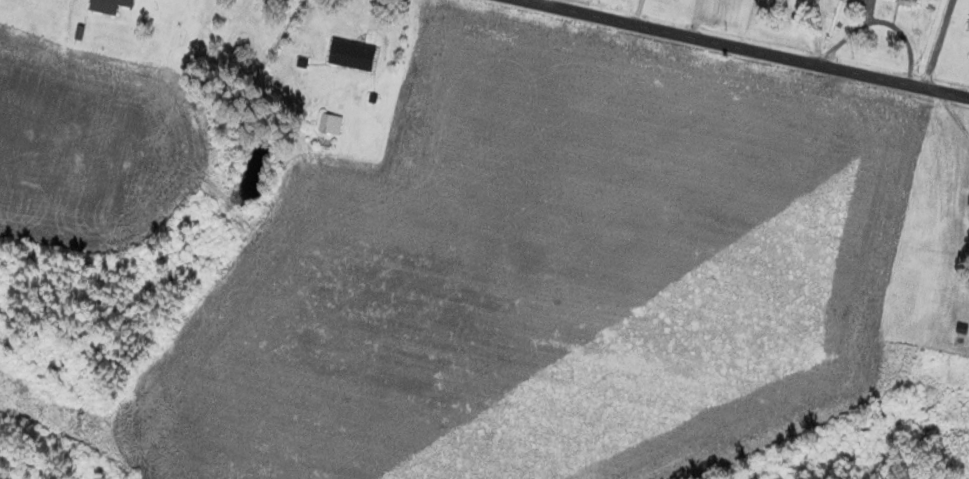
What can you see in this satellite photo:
building: (909, 0)
building: (109, 5)
building: (968, 27)
road: (937, 43)
road: (750, 48)
building: (352, 55)
building: (330, 123)
building: (968, 205)
power tower: (84, 423)

